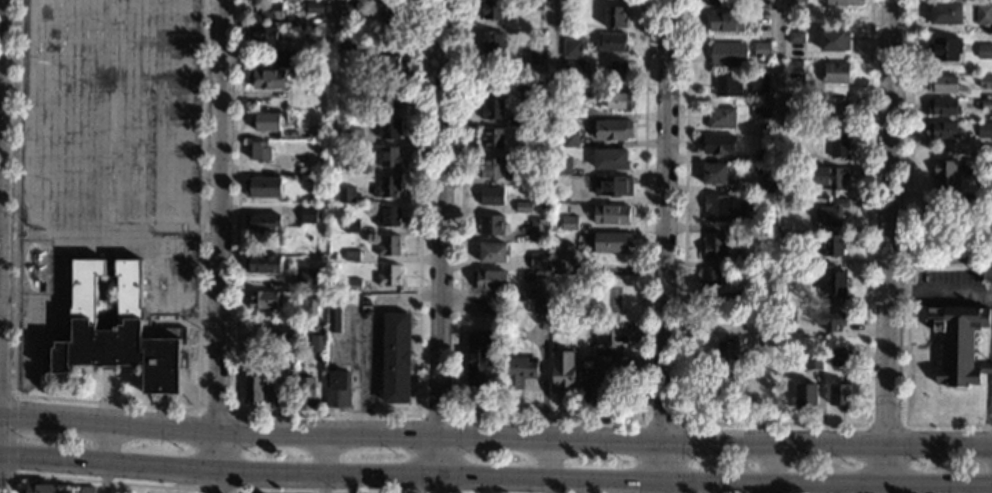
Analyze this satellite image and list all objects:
building: (716, 2)
building: (845, 2)
building: (796, 3)
building: (536, 4)
building: (313, 6)
building: (348, 8)
building: (493, 9)
building: (272, 10)
building: (393, 10)
road: (334, 11)
building: (572, 11)
building: (945, 13)
building: (984, 14)
building: (615, 16)
building: (727, 21)
building: (263, 33)
building: (795, 36)
road: (555, 38)
road: (779, 38)
building: (834, 40)
building: (494, 42)
building: (613, 42)
building: (347, 45)
building: (572, 48)
building: (945, 48)
building: (762, 49)
building: (984, 51)
building: (728, 54)
building: (538, 55)
road: (1, 56)
building: (284, 58)
building: (389, 64)
building: (794, 65)
building: (575, 68)
building: (617, 70)
building: (836, 73)
building: (267, 78)
building: (493, 79)
building: (985, 81)
building: (759, 82)
building: (524, 83)
building: (943, 83)
building: (727, 86)
building: (390, 98)
building: (619, 100)
building: (794, 100)
building: (984, 104)
building: (357, 107)
building: (943, 107)
building: (492, 108)
building: (835, 108)
building: (563, 109)
building: (761, 112)
building: (721, 118)
building: (268, 120)
building: (522, 120)
building: (390, 128)
building: (613, 129)
building: (943, 129)
building: (984, 129)
building: (317, 130)
building: (354, 136)
building: (492, 138)
building: (570, 138)
building: (718, 143)
building: (839, 145)
building: (522, 149)
building: (260, 150)
building: (334, 152)
building: (765, 155)
building: (390, 156)
building: (791, 156)
building: (610, 159)
building: (297, 161)
building: (562, 165)
building: (358, 166)
building: (492, 167)
building: (970, 168)
building: (714, 173)
building: (306, 174)
building: (945, 175)
building: (827, 177)
building: (532, 178)
building: (768, 183)
building: (614, 185)
building: (262, 186)
building: (388, 186)
building: (346, 194)
building: (562, 195)
building: (492, 196)
road: (8, 203)
building: (524, 206)
building: (541, 207)
building: (723, 209)
building: (611, 213)
building: (831, 213)
building: (308, 214)
building: (346, 215)
building: (389, 216)
building: (263, 221)
building: (570, 222)
building: (491, 224)
building: (351, 225)
building: (538, 229)
road: (8, 235)
building: (612, 241)
building: (833, 244)
building: (389, 245)
building: (714, 245)
road: (220, 246)
road: (439, 246)
road: (664, 246)
road: (888, 246)
building: (493, 252)
building: (352, 255)
road: (909, 255)
building: (563, 258)
building: (785, 259)
building: (540, 260)
building: (751, 260)
building: (262, 263)
building: (389, 274)
building: (308, 278)
building: (490, 279)
building: (710, 279)
building: (833, 281)
building: (542, 283)
building: (353, 284)
road: (940, 292)
building: (743, 294)
building: (263, 299)
building: (310, 302)
building: (492, 305)
building: (541, 307)
building: (750, 312)
building: (334, 317)
building: (787, 320)
building: (832, 321)
building: (118, 327)
building: (602, 334)
road: (373, 337)
building: (316, 342)
building: (958, 343)
building: (249, 344)
building: (288, 344)
building: (397, 358)
building: (479, 358)
building: (730, 358)
building: (839, 358)
building: (813, 362)
building: (608, 368)
building: (521, 370)
building: (563, 370)
building: (275, 381)
building: (253, 388)
building: (339, 388)
building: (305, 390)
road: (7, 392)
building: (841, 394)
building: (806, 396)
road: (115, 403)
road: (326, 414)
road: (437, 417)
road: (552, 419)
road: (661, 422)
road: (987, 423)
road: (775, 424)
road: (886, 425)
road: (13, 434)
road: (495, 436)
road: (108, 458)
road: (322, 463)
road: (546, 465)
road: (773, 467)
road: (6, 476)
road: (495, 477)
road: (97, 482)
building: (40, 488)
building: (87, 490)
road: (231, 491)
road: (253, 492)

